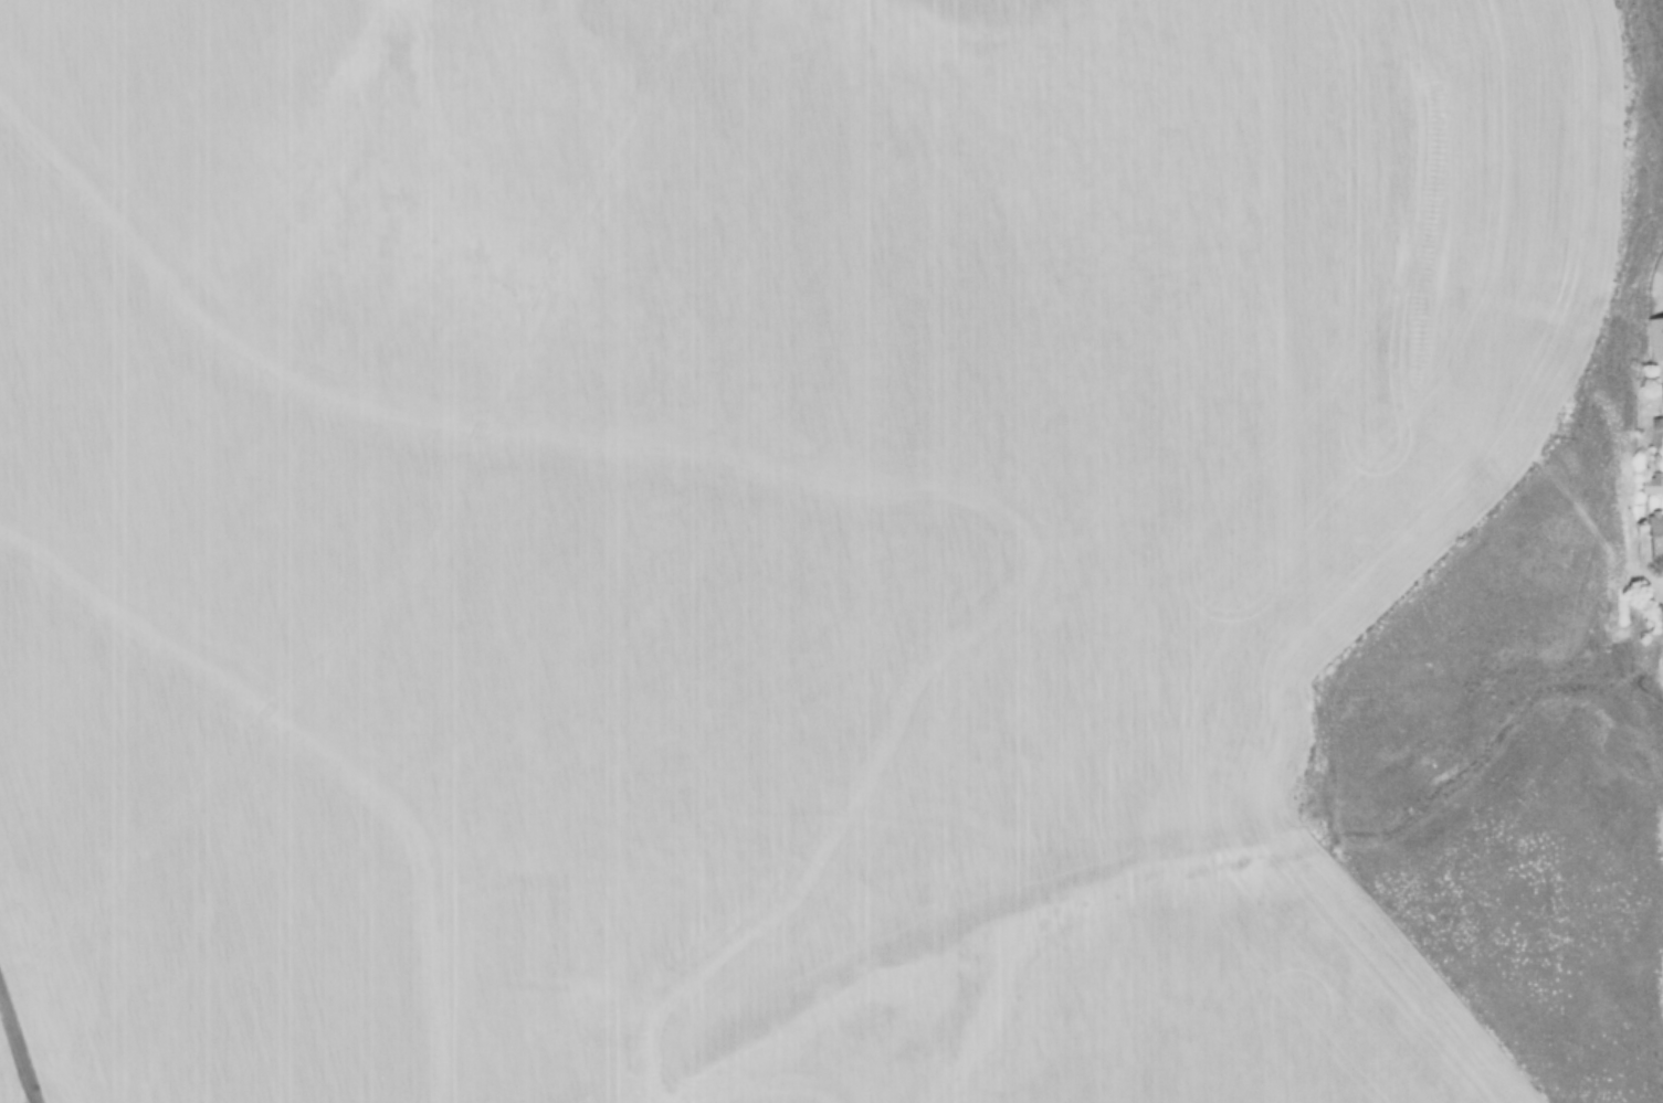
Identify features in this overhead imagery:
building: (1656, 337)
road: (20, 1039)

